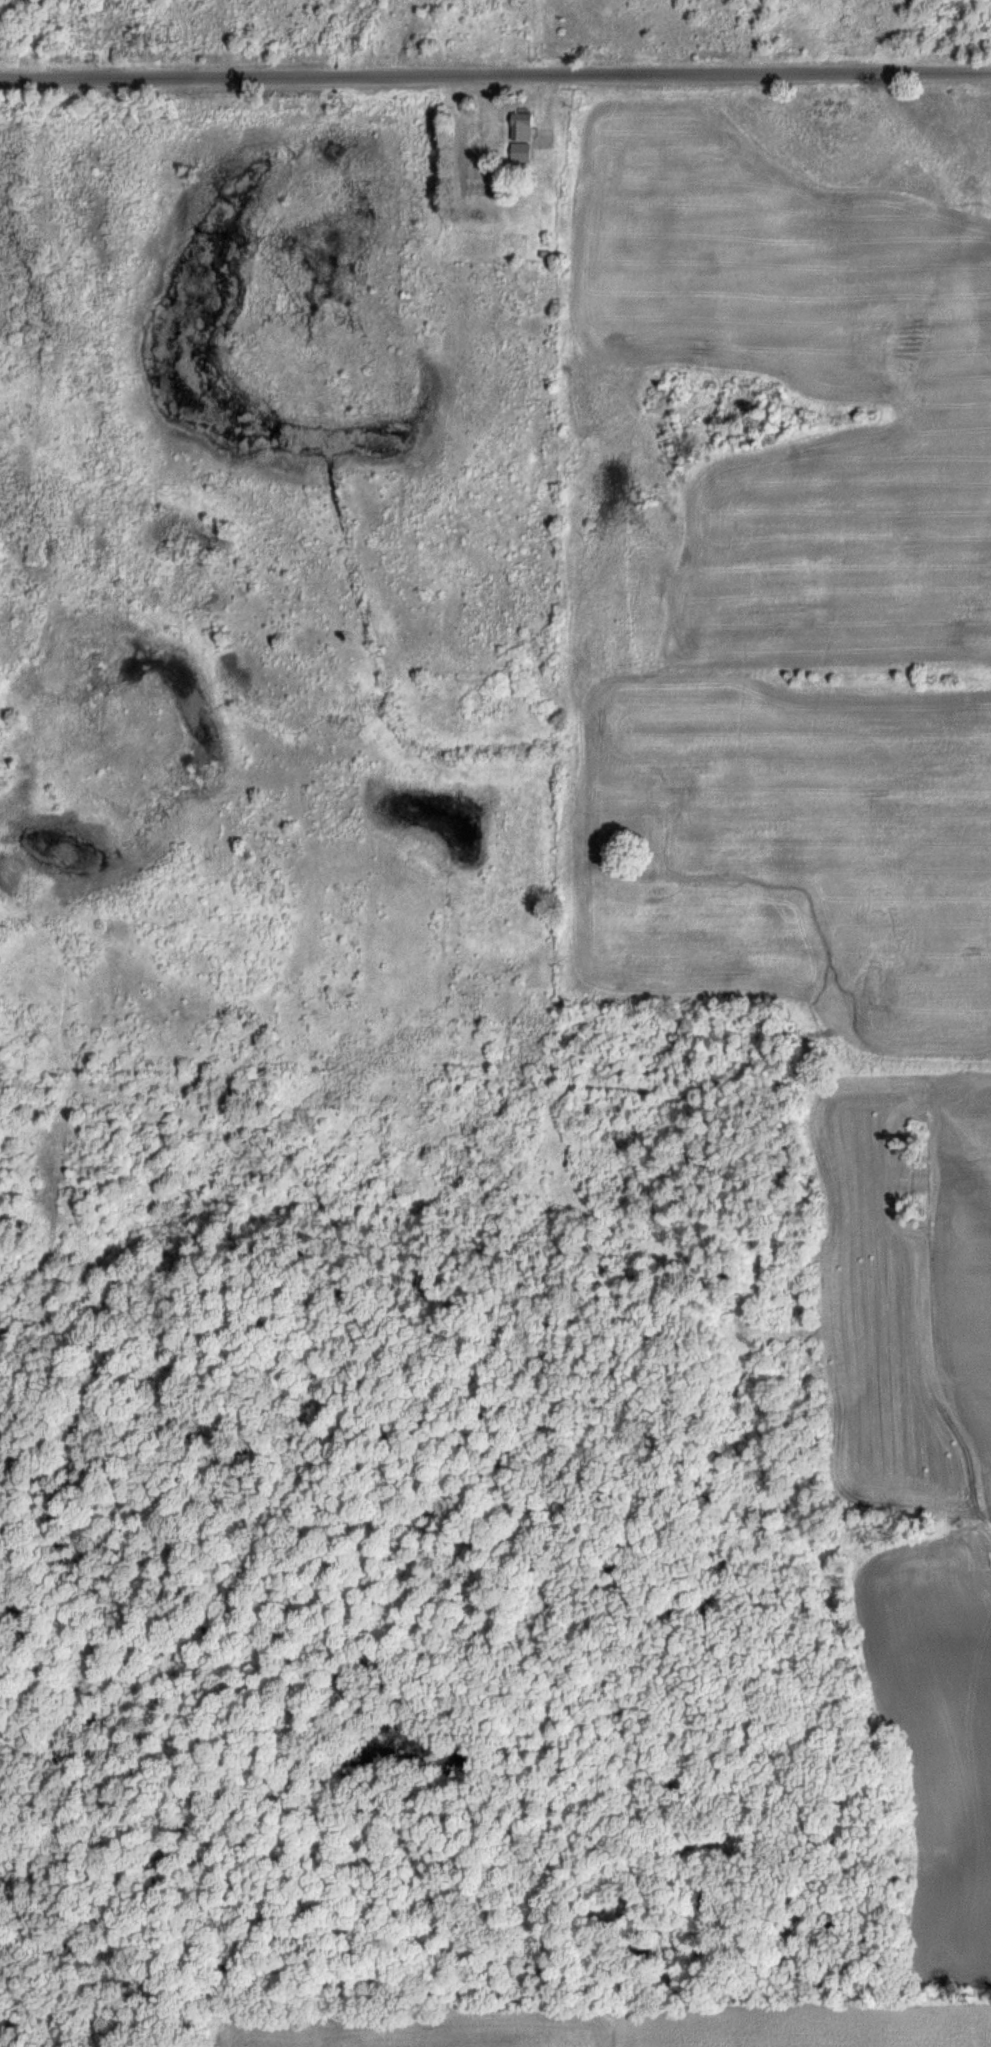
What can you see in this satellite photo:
road: (495, 75)
building: (522, 128)
building: (521, 154)

